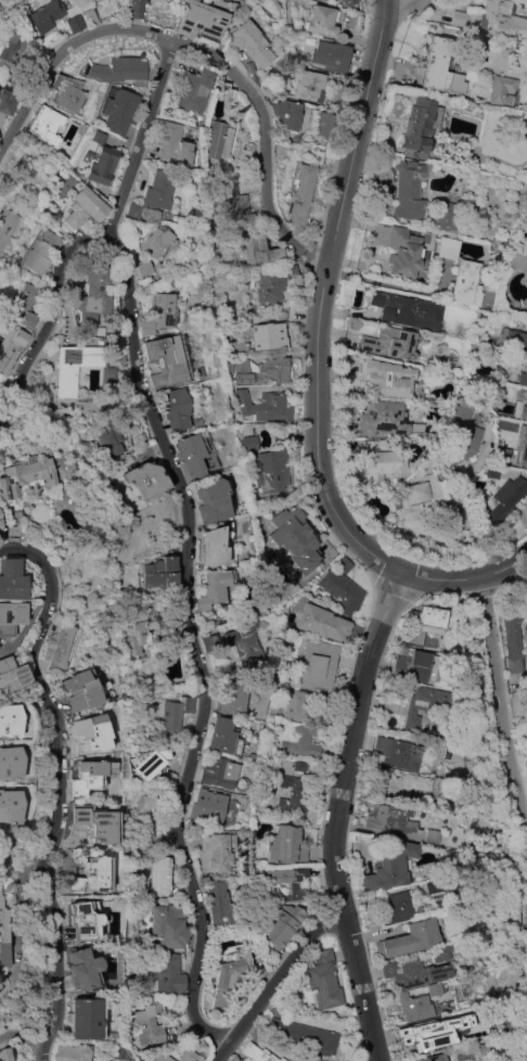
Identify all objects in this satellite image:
building: (90, 0)
building: (95, 0)
building: (337, 0)
building: (348, 1)
building: (134, 8)
building: (53, 15)
building: (89, 15)
building: (494, 17)
building: (322, 20)
building: (349, 20)
building: (201, 21)
building: (248, 43)
building: (11, 47)
road: (62, 54)
building: (331, 55)
building: (439, 67)
building: (116, 69)
building: (336, 85)
building: (309, 86)
building: (192, 89)
building: (503, 90)
building: (65, 92)
building: (7, 103)
building: (114, 110)
building: (285, 113)
building: (324, 124)
building: (43, 125)
building: (218, 126)
building: (420, 126)
building: (78, 127)
building: (525, 129)
building: (93, 137)
road: (361, 139)
road: (138, 140)
building: (166, 144)
road: (267, 146)
building: (316, 153)
building: (95, 165)
building: (411, 188)
building: (0, 191)
building: (146, 194)
building: (301, 194)
building: (240, 205)
building: (77, 209)
building: (445, 216)
building: (7, 227)
building: (150, 241)
building: (259, 248)
building: (447, 248)
building: (36, 252)
building: (403, 253)
building: (517, 259)
building: (139, 268)
building: (291, 271)
road: (385, 283)
building: (466, 283)
building: (269, 284)
building: (89, 295)
building: (24, 304)
building: (408, 310)
building: (285, 311)
building: (157, 312)
road: (51, 319)
building: (266, 335)
building: (513, 338)
building: (11, 343)
building: (390, 343)
building: (473, 348)
building: (166, 360)
building: (72, 366)
building: (262, 370)
building: (386, 378)
building: (522, 378)
building: (523, 405)
building: (87, 406)
building: (263, 406)
building: (175, 408)
building: (381, 418)
building: (13, 432)
building: (281, 433)
building: (460, 435)
building: (111, 438)
road: (322, 442)
building: (249, 443)
building: (524, 445)
building: (196, 453)
building: (503, 458)
building: (526, 459)
building: (382, 461)
building: (426, 463)
building: (492, 471)
building: (24, 474)
building: (270, 474)
building: (145, 478)
building: (415, 497)
building: (216, 498)
building: (505, 499)
building: (9, 519)
building: (292, 535)
building: (213, 548)
building: (343, 564)
building: (159, 572)
building: (11, 579)
road: (466, 580)
building: (215, 587)
building: (342, 591)
building: (11, 616)
building: (321, 622)
building: (138, 624)
building: (424, 624)
building: (514, 627)
building: (171, 636)
building: (209, 642)
building: (244, 642)
building: (60, 644)
road: (194, 650)
building: (318, 665)
building: (415, 666)
building: (11, 675)
building: (83, 690)
building: (230, 695)
building: (296, 705)
building: (423, 705)
building: (175, 715)
road: (502, 718)
building: (10, 720)
building: (91, 732)
building: (222, 734)
building: (301, 742)
building: (400, 753)
building: (10, 763)
building: (149, 763)
building: (300, 765)
building: (218, 771)
building: (89, 777)
road: (59, 783)
building: (394, 783)
building: (293, 795)
building: (10, 806)
building: (207, 808)
road: (337, 816)
building: (390, 818)
building: (98, 821)
building: (140, 821)
building: (432, 836)
building: (284, 844)
building: (216, 853)
building: (448, 855)
building: (389, 865)
building: (452, 867)
building: (160, 874)
building: (88, 875)
building: (285, 881)
building: (434, 886)
building: (121, 903)
building: (220, 904)
building: (397, 906)
building: (85, 919)
building: (168, 925)
building: (282, 926)
building: (3, 936)
building: (410, 938)
building: (442, 953)
building: (85, 969)
building: (415, 972)
building: (168, 973)
building: (229, 976)
road: (282, 979)
building: (324, 980)
building: (435, 988)
building: (415, 1006)
building: (87, 1017)
building: (150, 1023)
road: (23, 1032)
building: (435, 1032)
building: (112, 1035)
building: (300, 1036)
building: (485, 1048)
building: (118, 1051)
building: (72, 1052)
building: (7, 1053)
building: (259, 1053)
building: (188, 1054)
building: (163, 1057)
building: (432, 1058)
building: (490, 1060)

